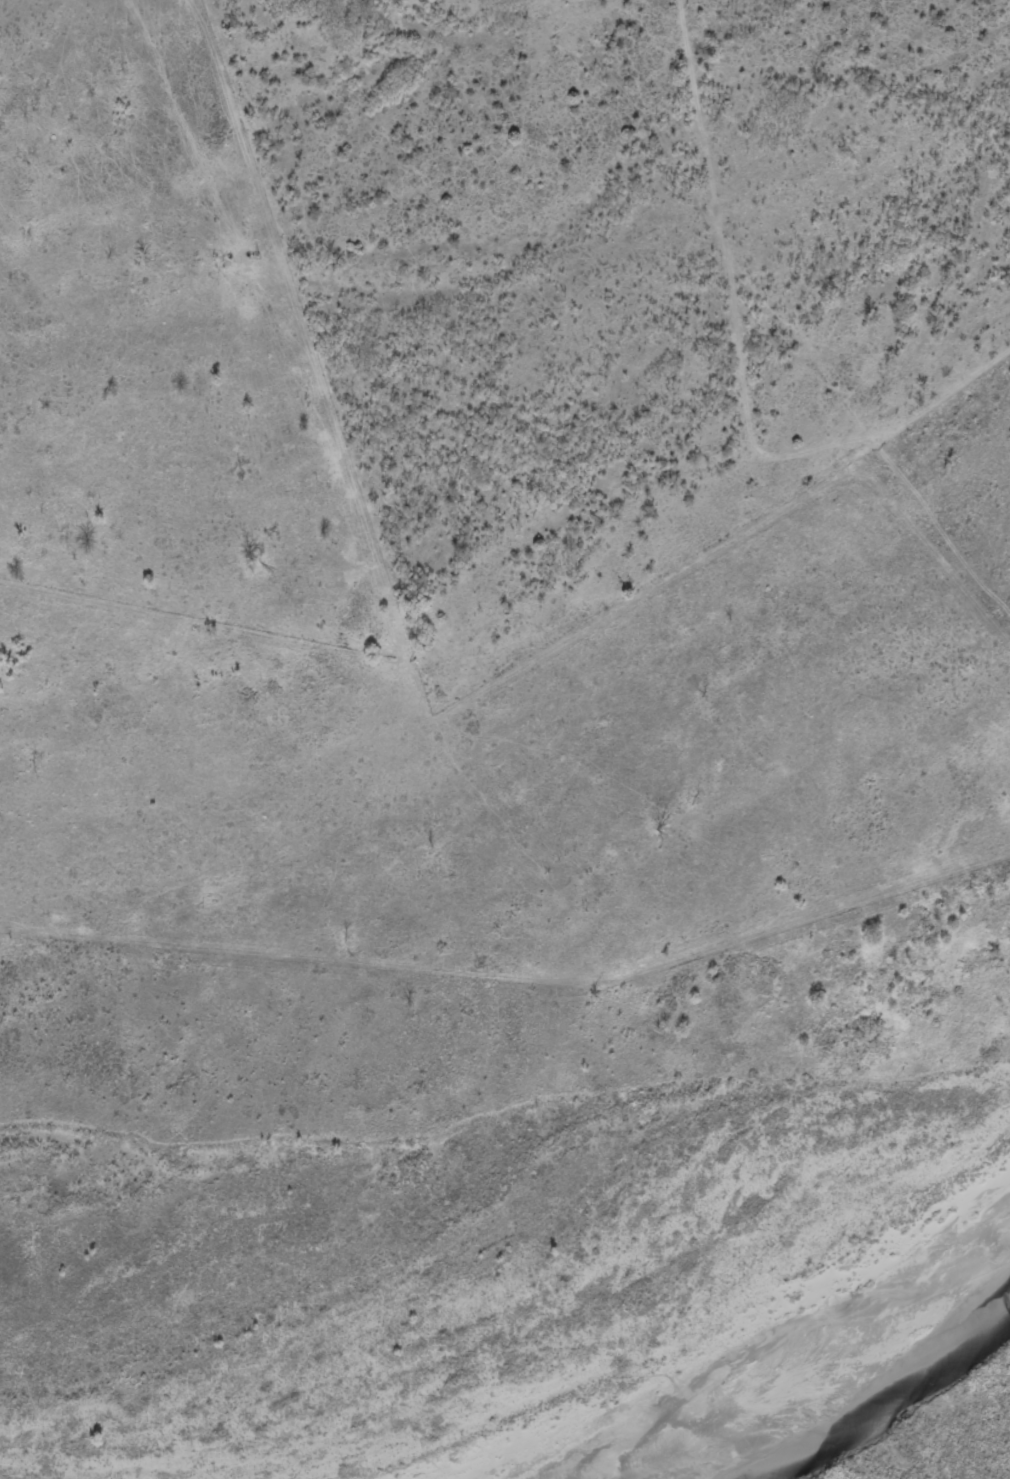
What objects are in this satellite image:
road: (770, 343)
river: (794, 1345)

